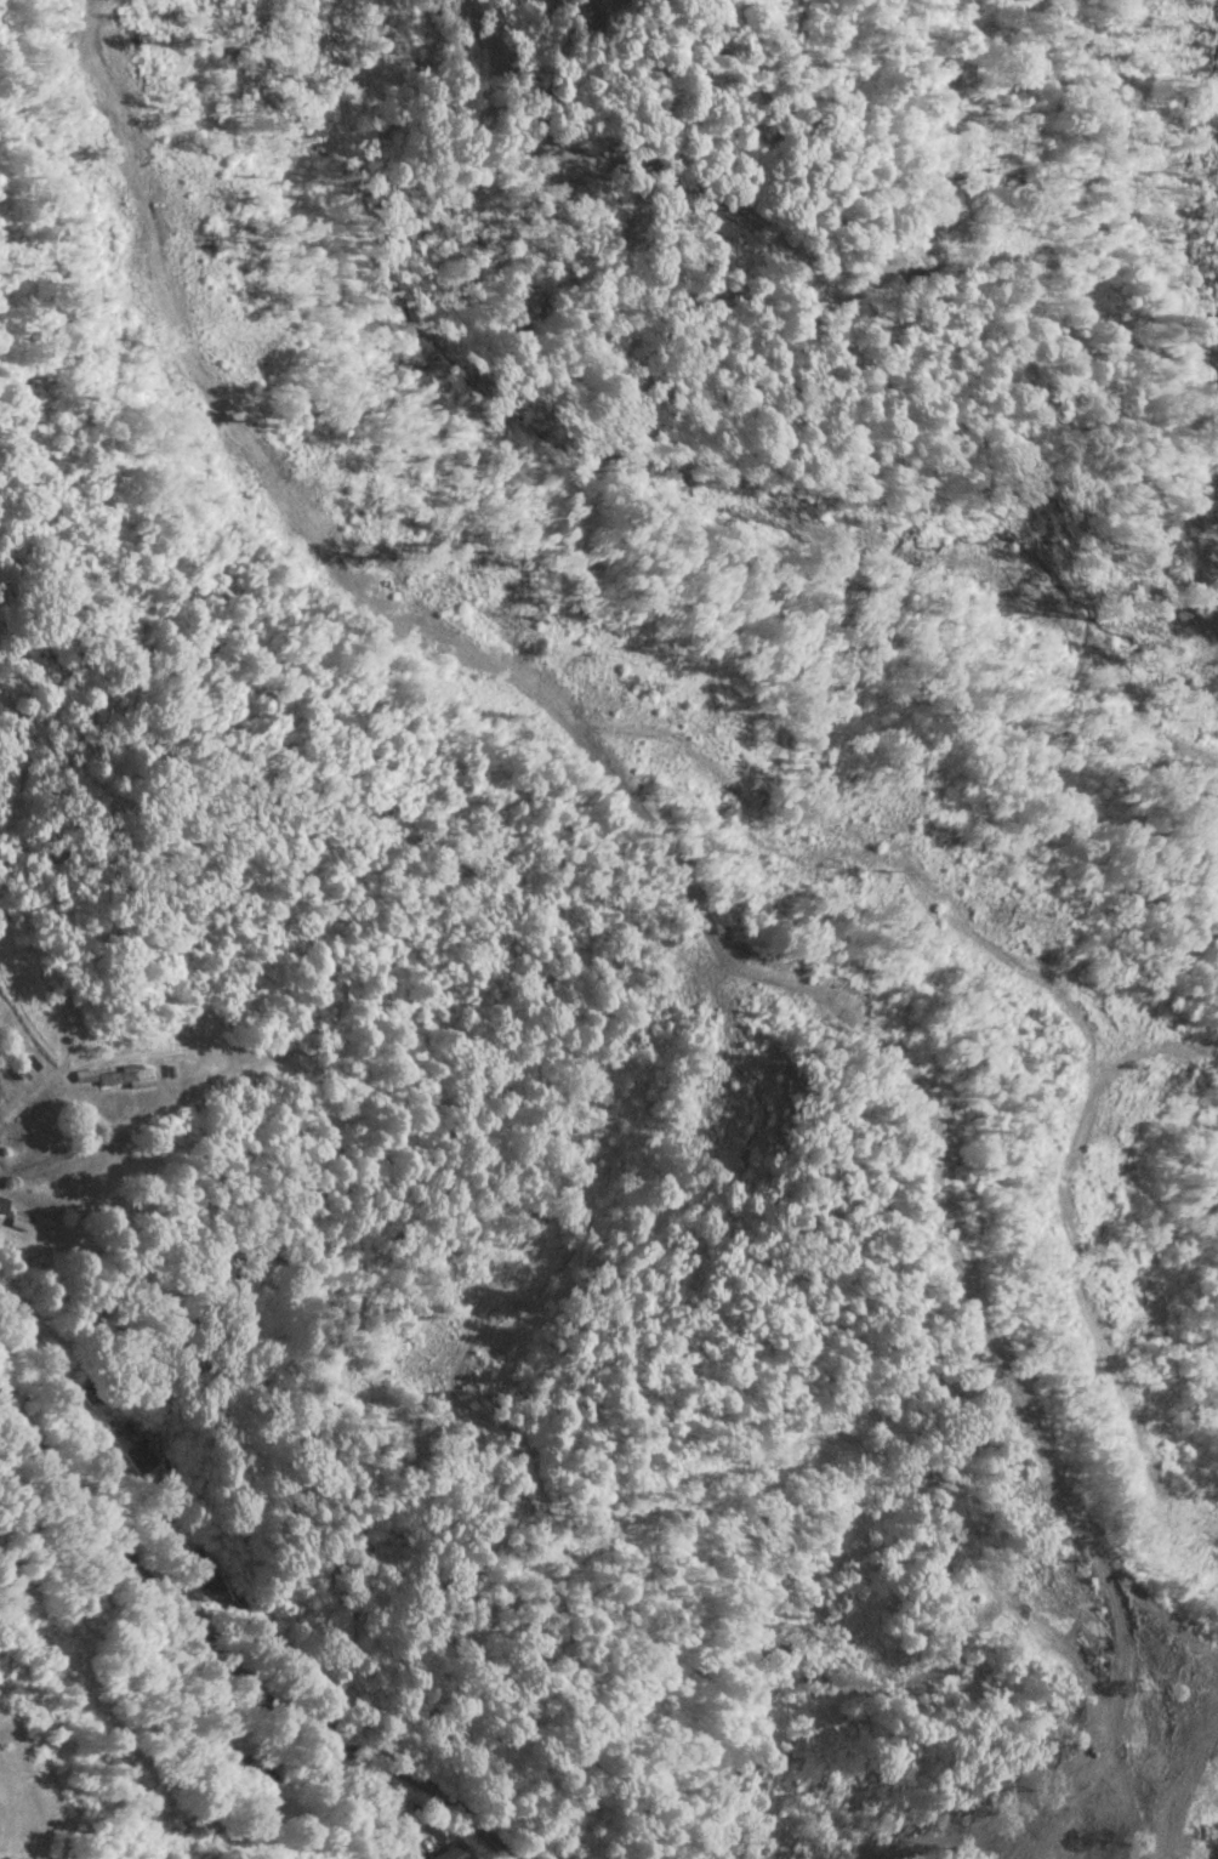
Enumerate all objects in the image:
building: (28, 1065)
building: (85, 1076)
building: (126, 1076)
road: (93, 1142)
building: (2, 1204)
building: (19, 1221)
building: (131, 1446)
building: (207, 1571)
road: (227, 1661)
building: (268, 1787)
building: (449, 1853)

